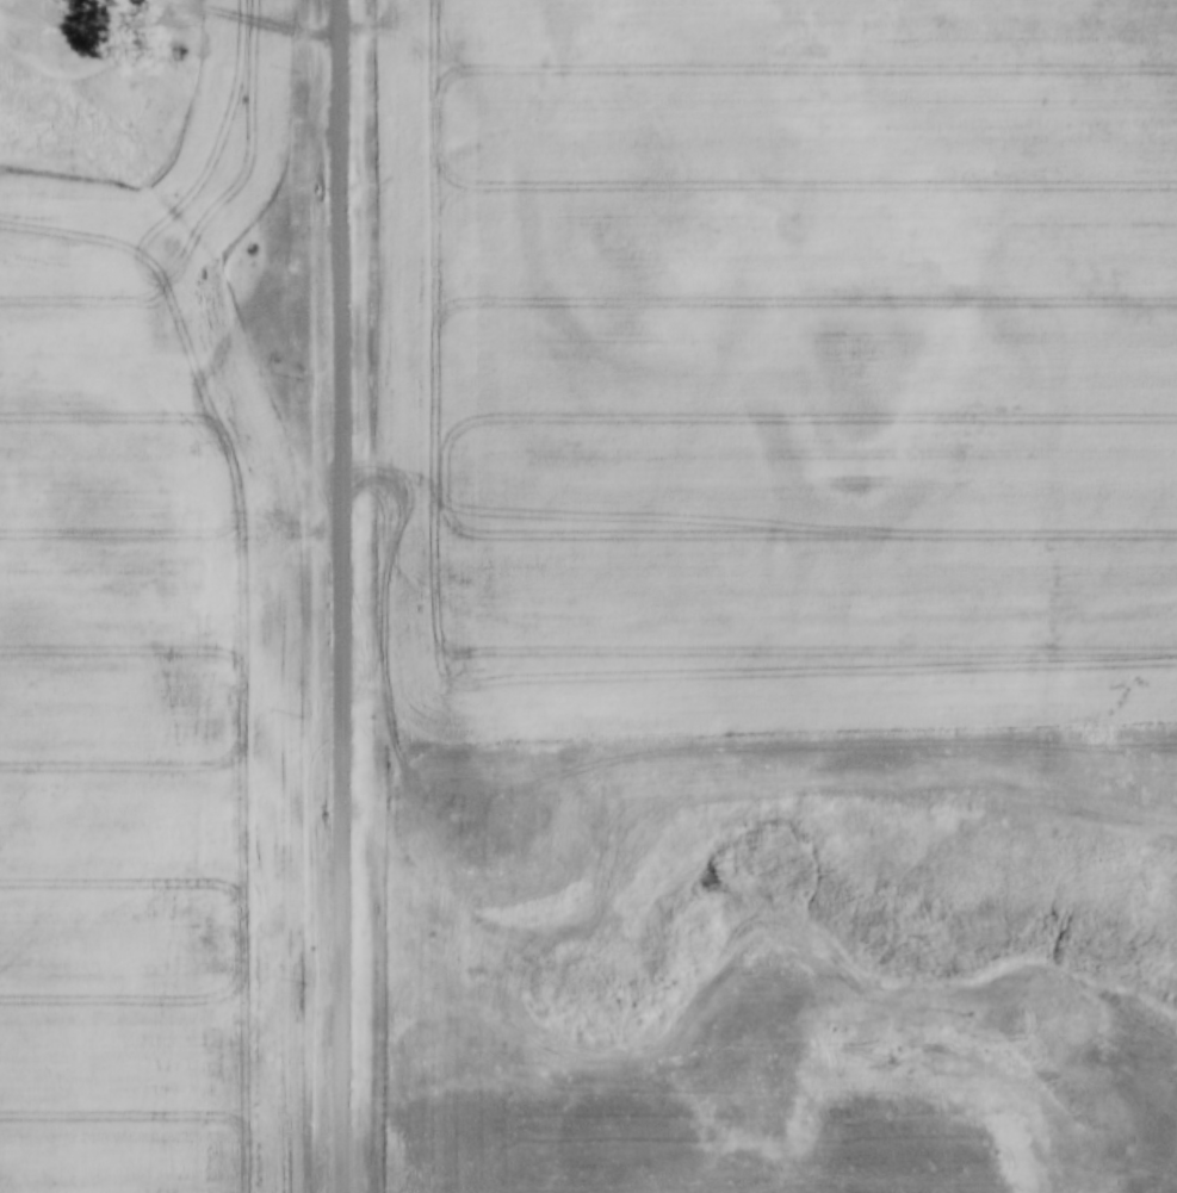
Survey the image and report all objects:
road: (339, 596)

